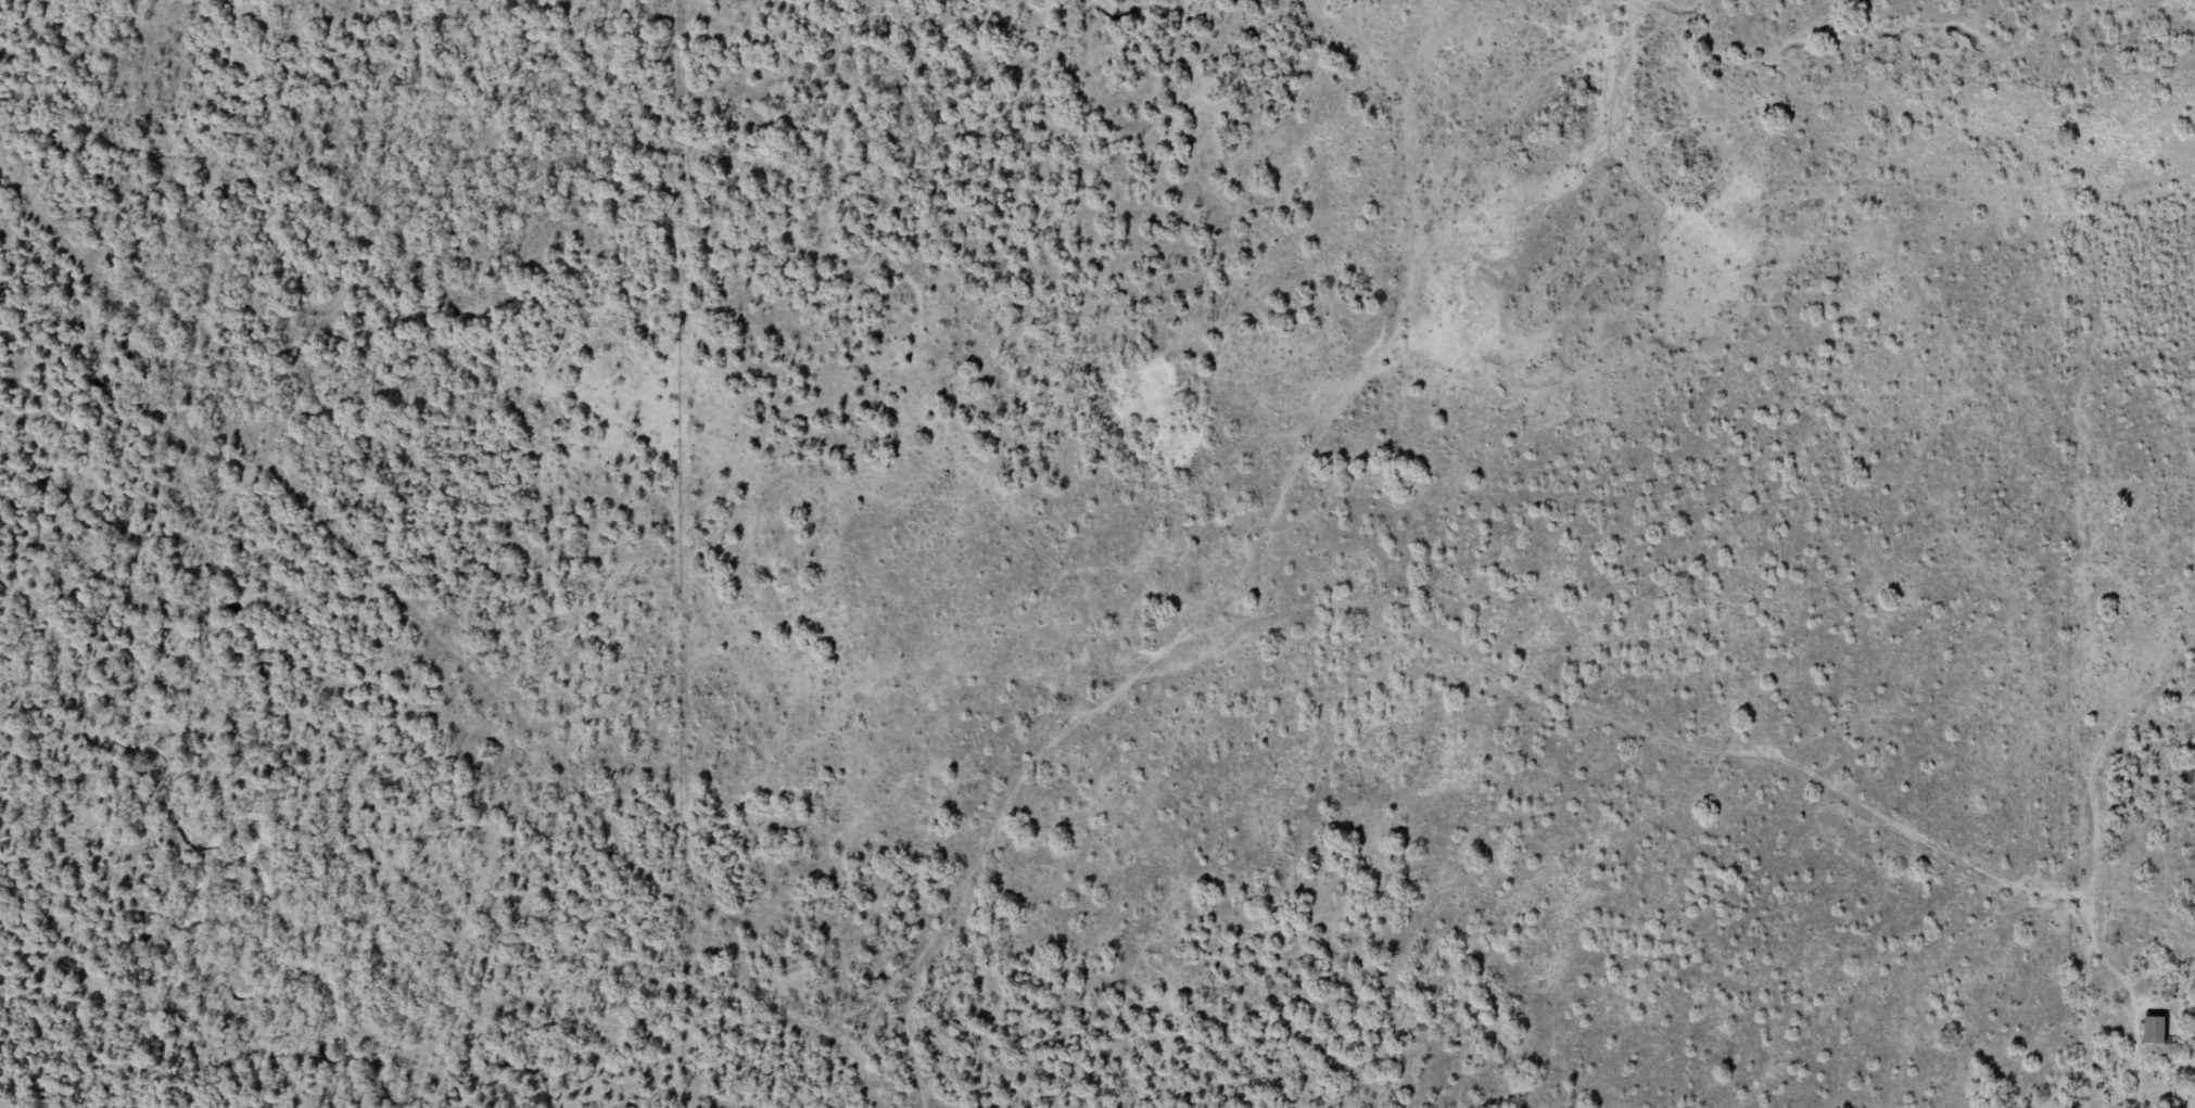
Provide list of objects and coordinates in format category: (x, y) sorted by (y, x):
road: (1418, 326)
road: (1216, 686)
road: (2147, 816)
building: (2157, 1037)

